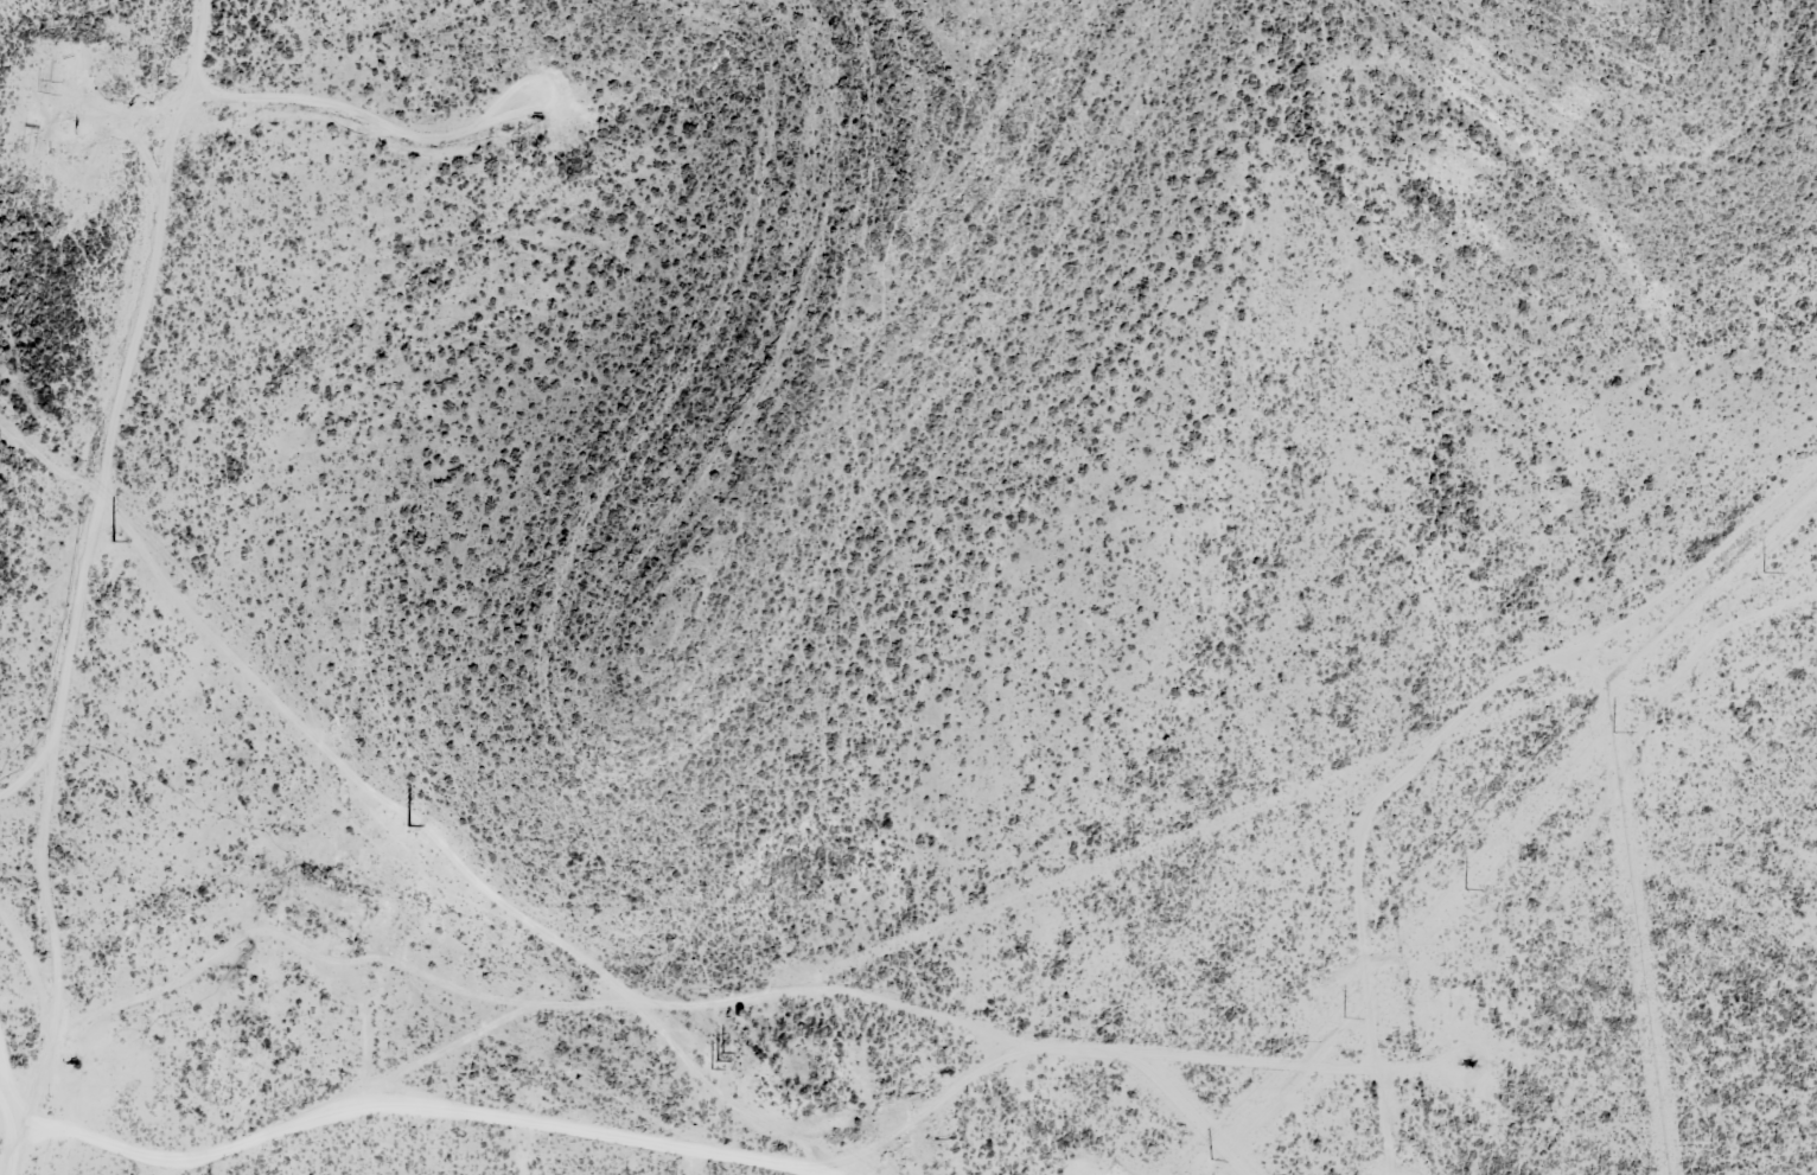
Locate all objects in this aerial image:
power tower: (114, 541)
road: (83, 573)
power tower: (1614, 728)
power tower: (409, 823)
power tower: (1344, 1010)
power tower: (718, 1058)
road: (14, 1065)
road: (783, 1154)
power tower: (1206, 1157)

